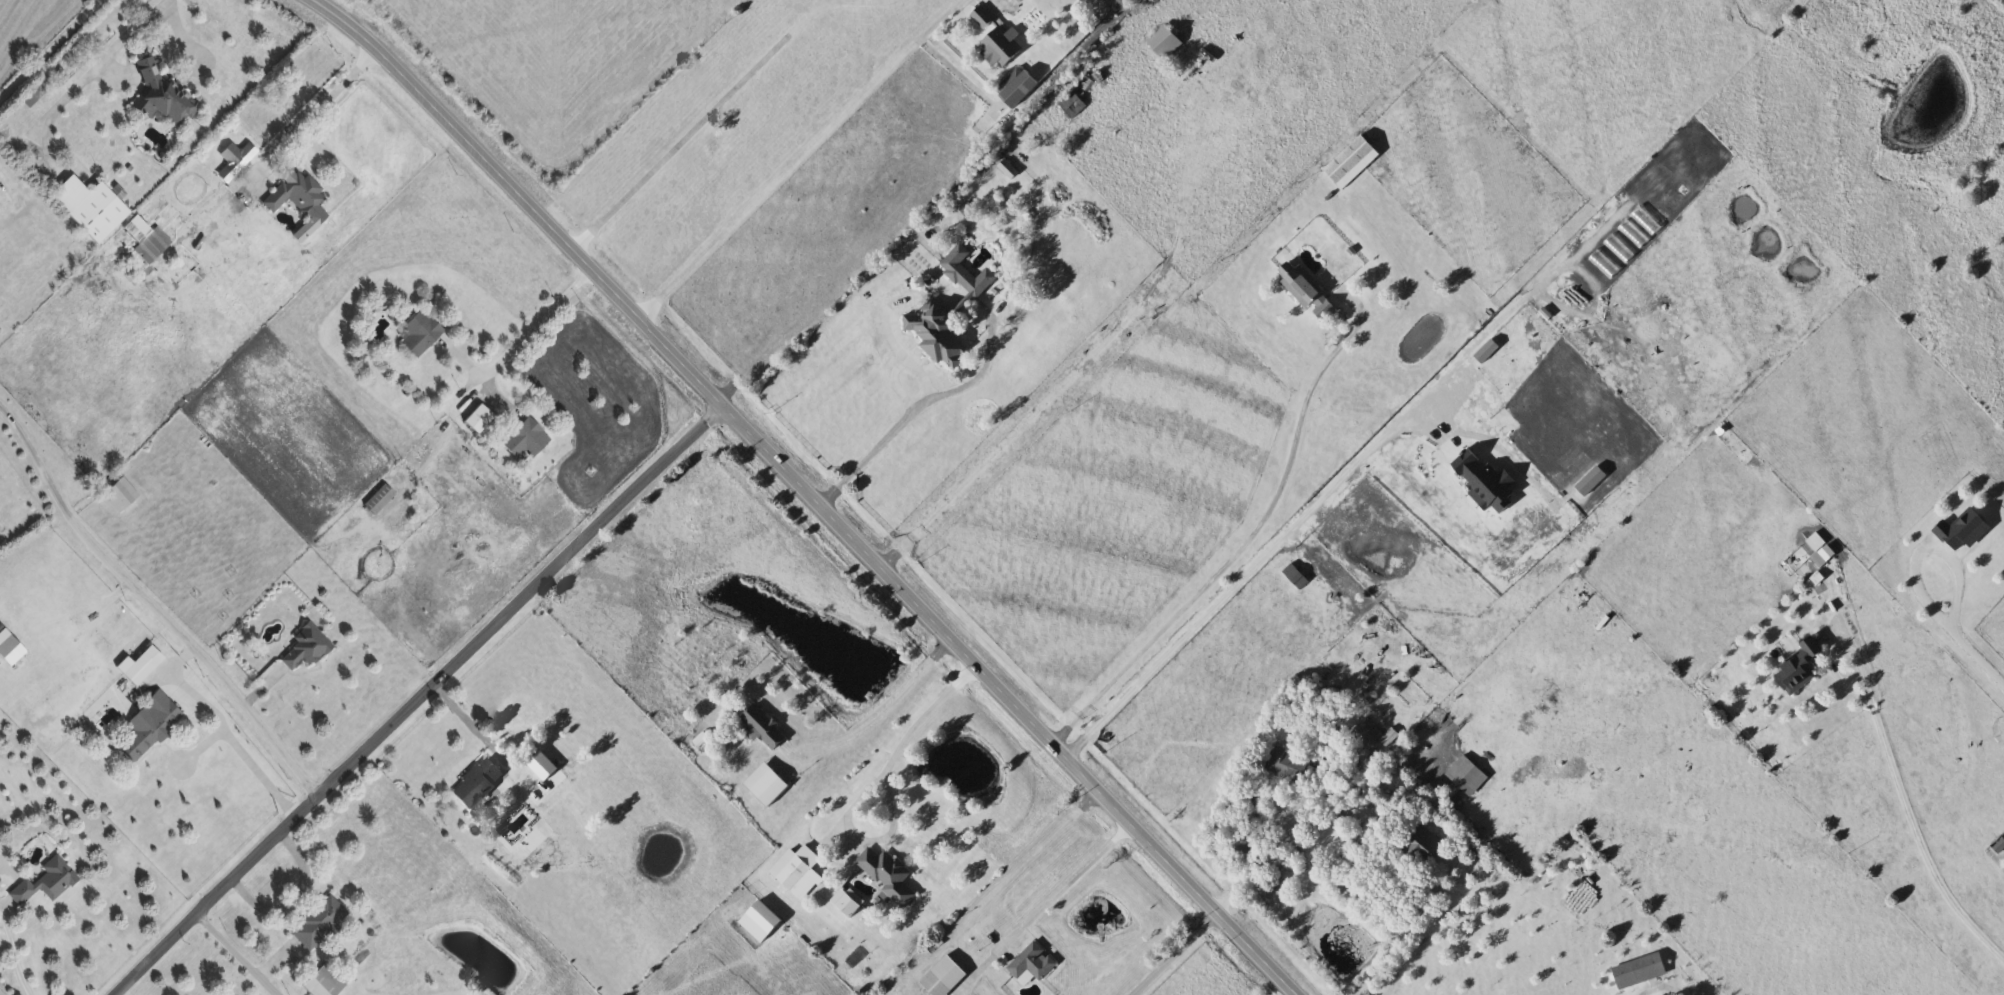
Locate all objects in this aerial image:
building: (1023, 0)
building: (998, 40)
building: (1167, 45)
road: (49, 49)
road: (93, 65)
building: (1018, 88)
building: (163, 95)
building: (1082, 97)
road: (311, 114)
road: (697, 124)
building: (1354, 164)
road: (781, 173)
building: (298, 195)
building: (90, 209)
building: (156, 245)
building: (959, 272)
building: (1308, 291)
road: (537, 324)
building: (421, 334)
building: (937, 334)
road: (916, 406)
building: (480, 420)
building: (528, 440)
road: (805, 491)
building: (122, 496)
building: (380, 500)
building: (1964, 531)
road: (1926, 545)
road: (1231, 554)
building: (1824, 557)
road: (1239, 578)
road: (150, 603)
building: (307, 649)
building: (13, 651)
road: (1976, 655)
building: (142, 667)
building: (1800, 668)
road: (1834, 675)
road: (415, 697)
road: (461, 724)
building: (764, 727)
road: (912, 727)
building: (152, 728)
building: (1366, 734)
building: (1391, 738)
building: (554, 758)
building: (1289, 766)
road: (261, 771)
building: (1469, 777)
building: (478, 784)
building: (768, 786)
road: (1908, 808)
building: (1422, 844)
building: (2001, 848)
road: (1272, 856)
building: (797, 876)
building: (889, 876)
building: (48, 882)
road: (1065, 886)
road: (295, 895)
building: (761, 922)
building: (322, 924)
road: (1410, 931)
road: (236, 953)
road: (1172, 953)
road: (9, 964)
building: (1033, 965)
building: (1641, 971)
building: (945, 978)
building: (327, 982)

